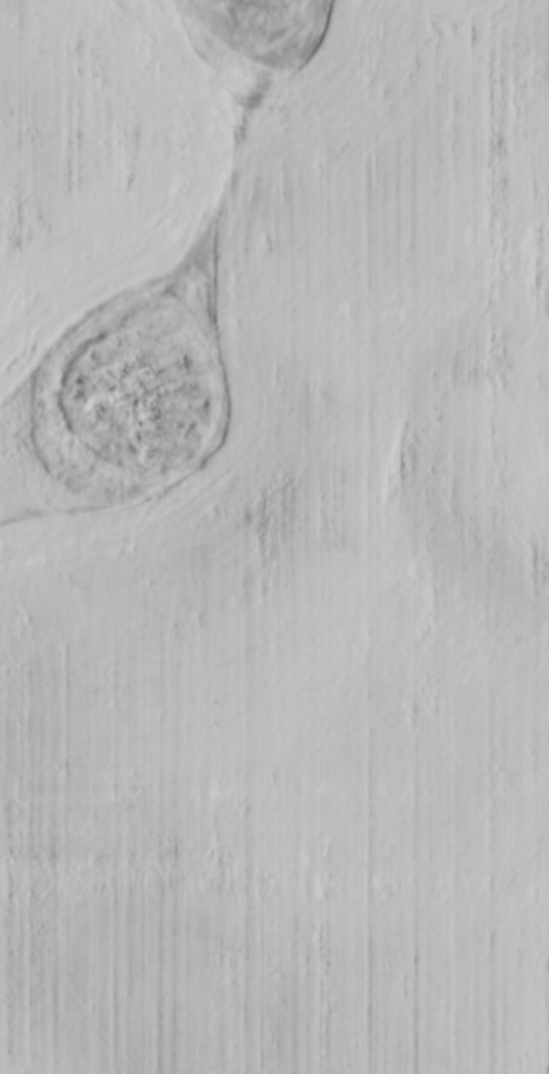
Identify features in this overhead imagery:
wind turbine: (211, 882)

